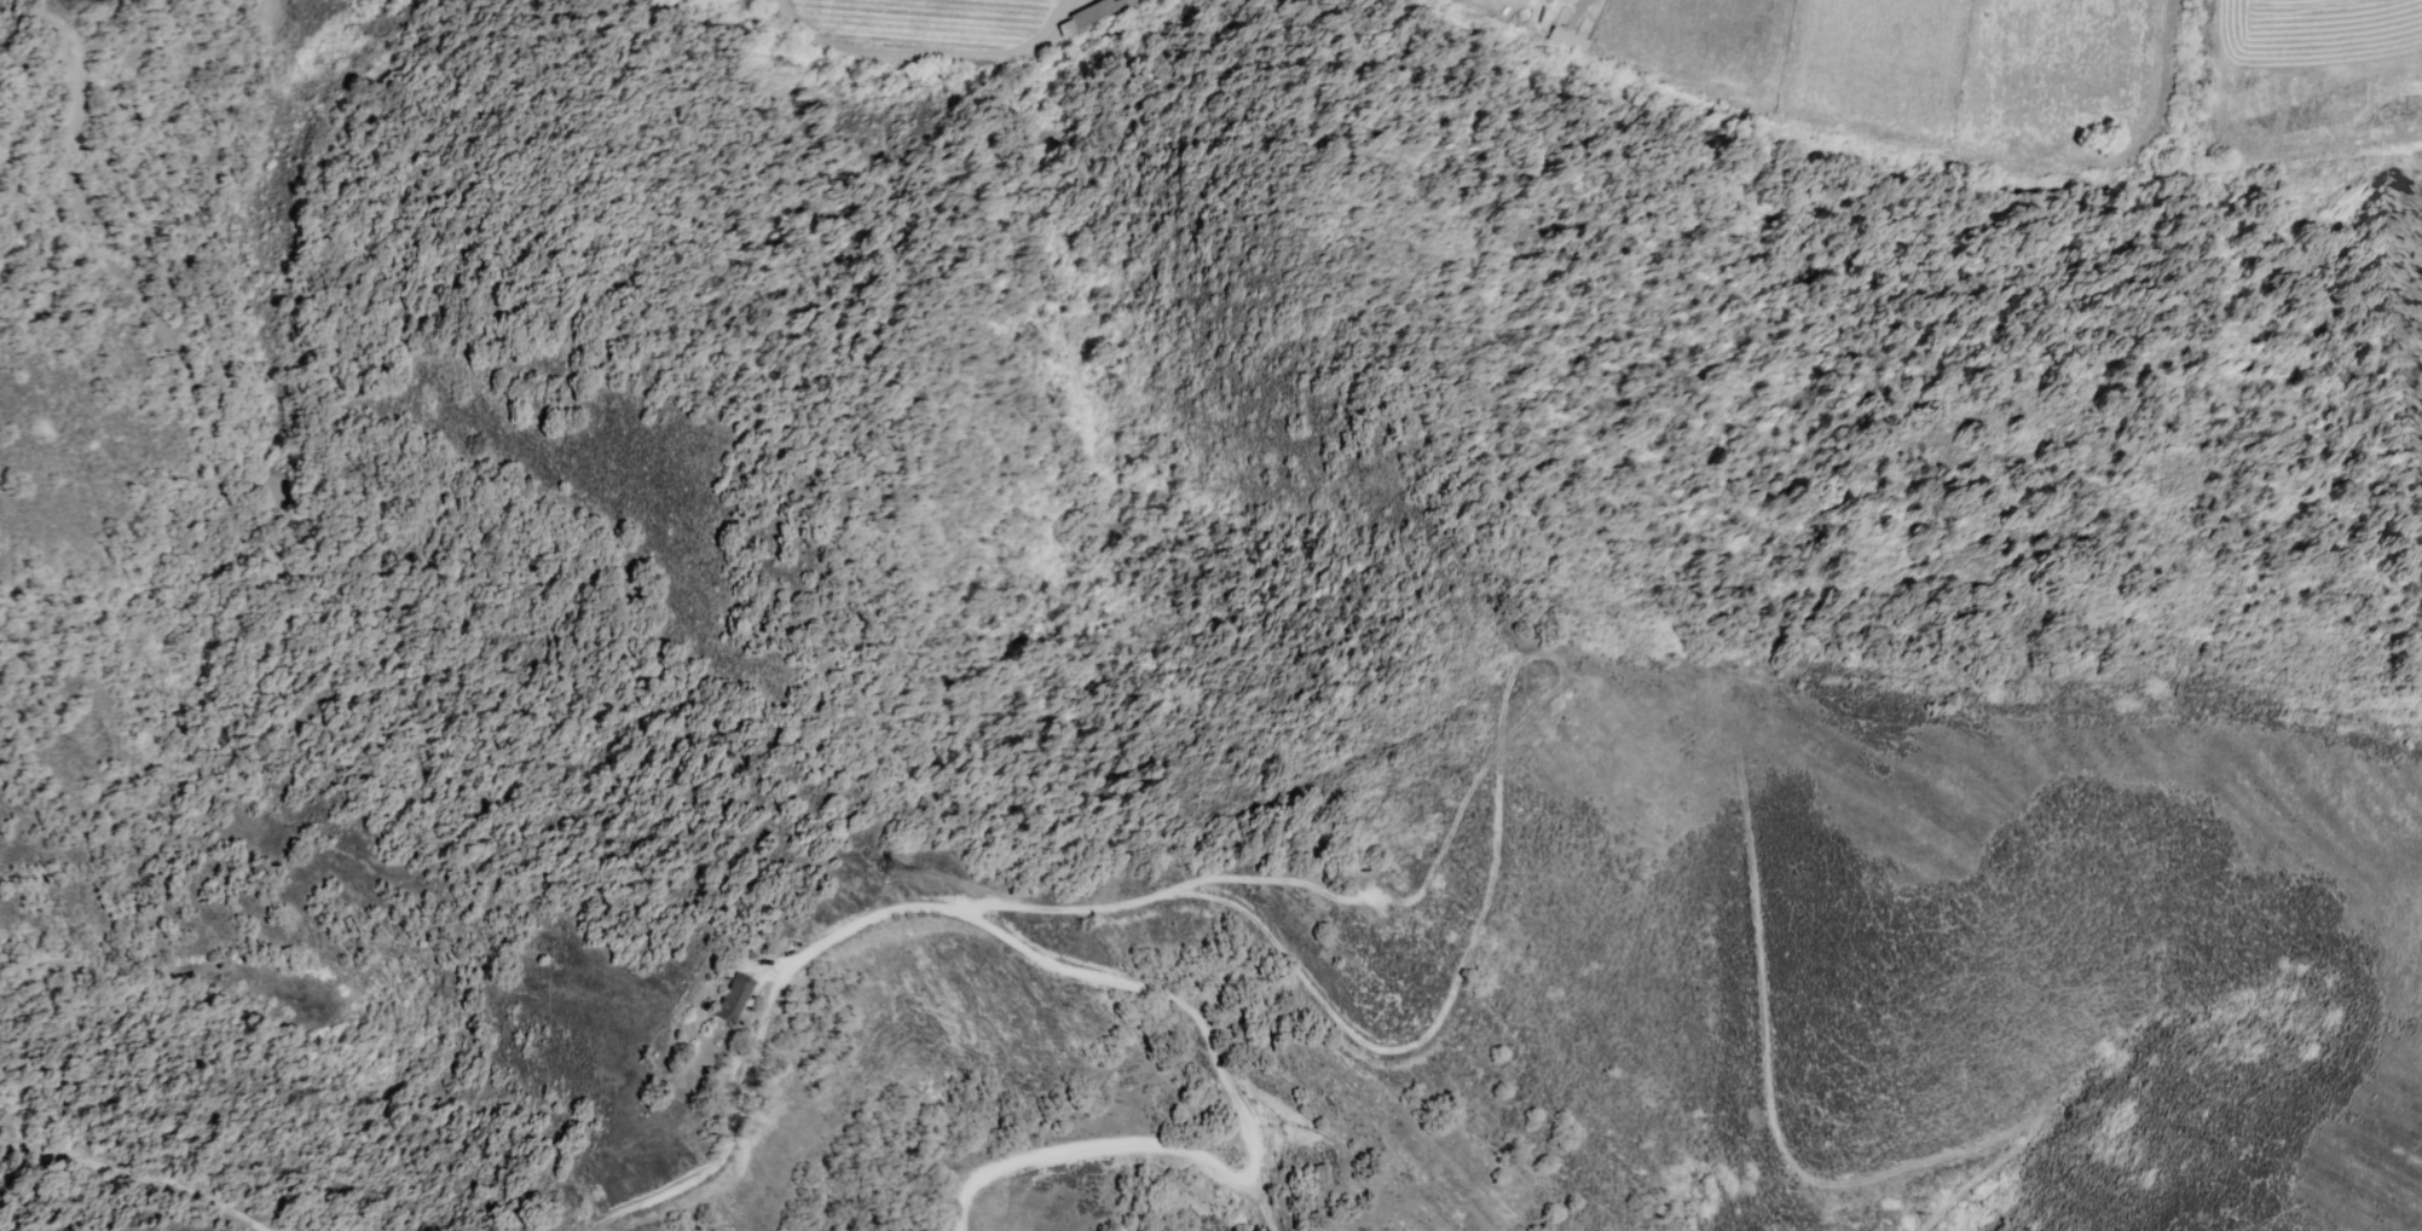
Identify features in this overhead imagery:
power tower: (79, 0)
crop: (1551, 13)
building: (1094, 15)
crop: (931, 24)
road: (932, 57)
crop: (1917, 69)
crop: (2323, 75)
power tower: (890, 868)
road: (1385, 897)
building: (752, 957)
road: (1064, 967)
building: (734, 1000)
road: (1428, 1038)
road: (1768, 1056)
road: (143, 1173)

